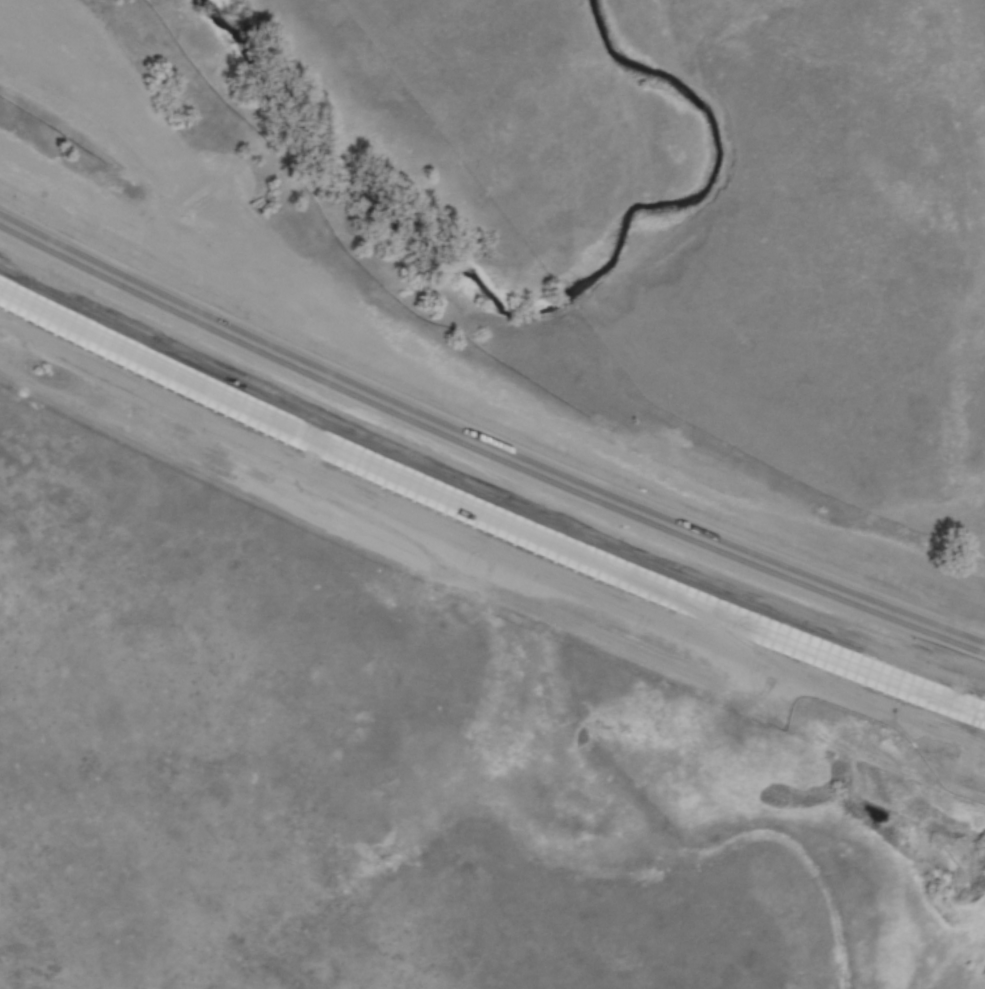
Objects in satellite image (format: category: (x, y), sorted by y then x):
road: (487, 448)
road: (486, 512)

